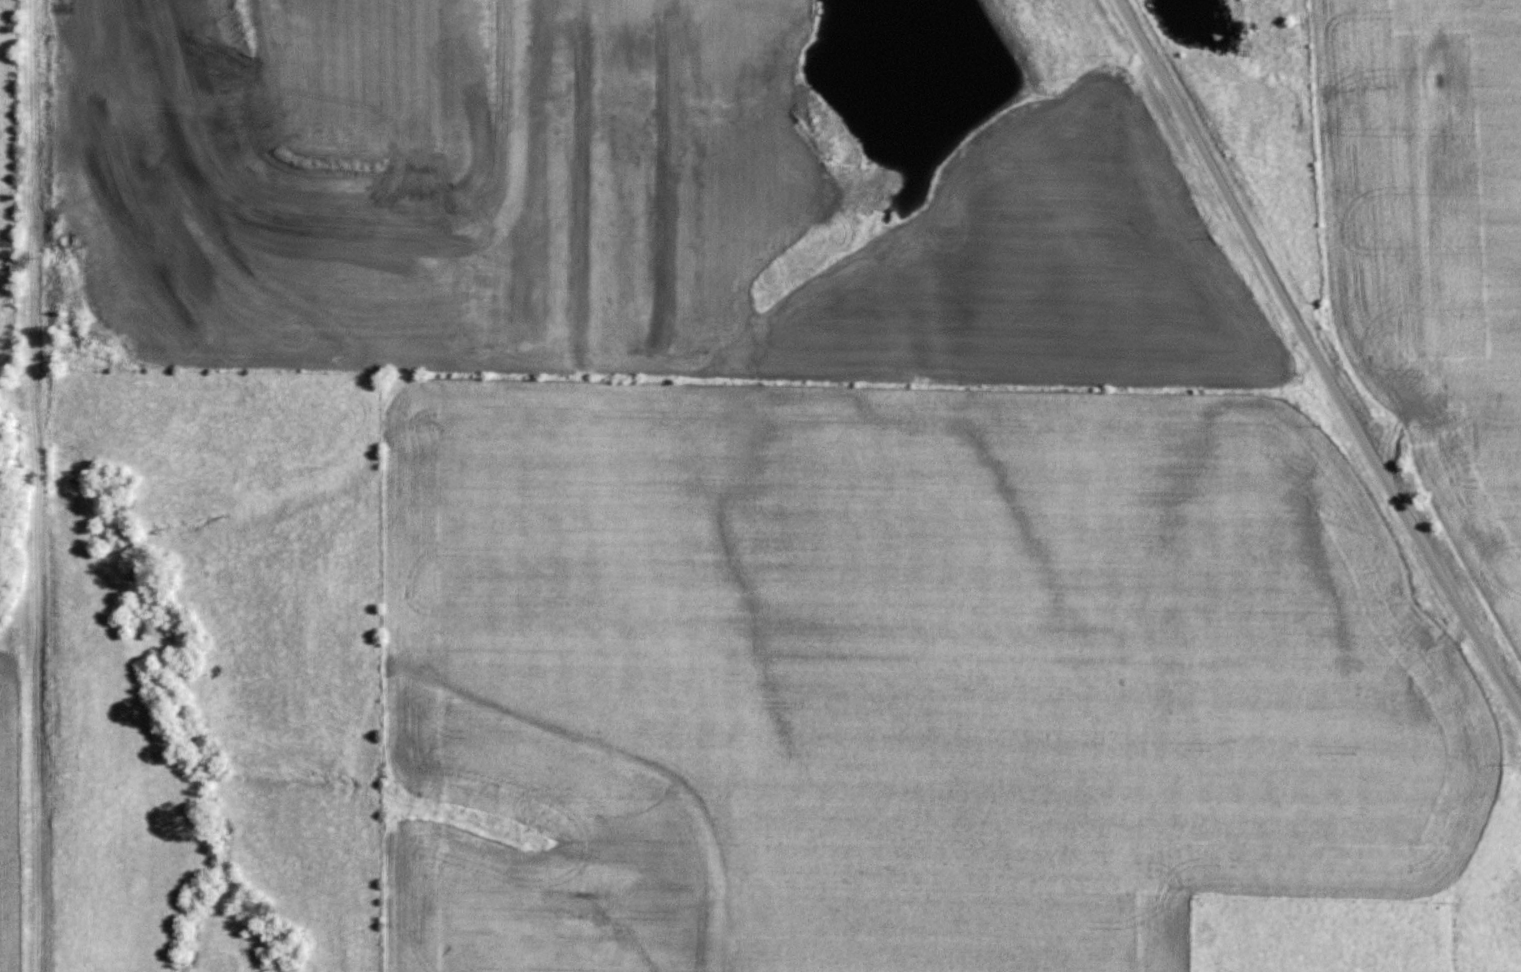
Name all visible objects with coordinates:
road: (1317, 358)
road: (36, 486)

